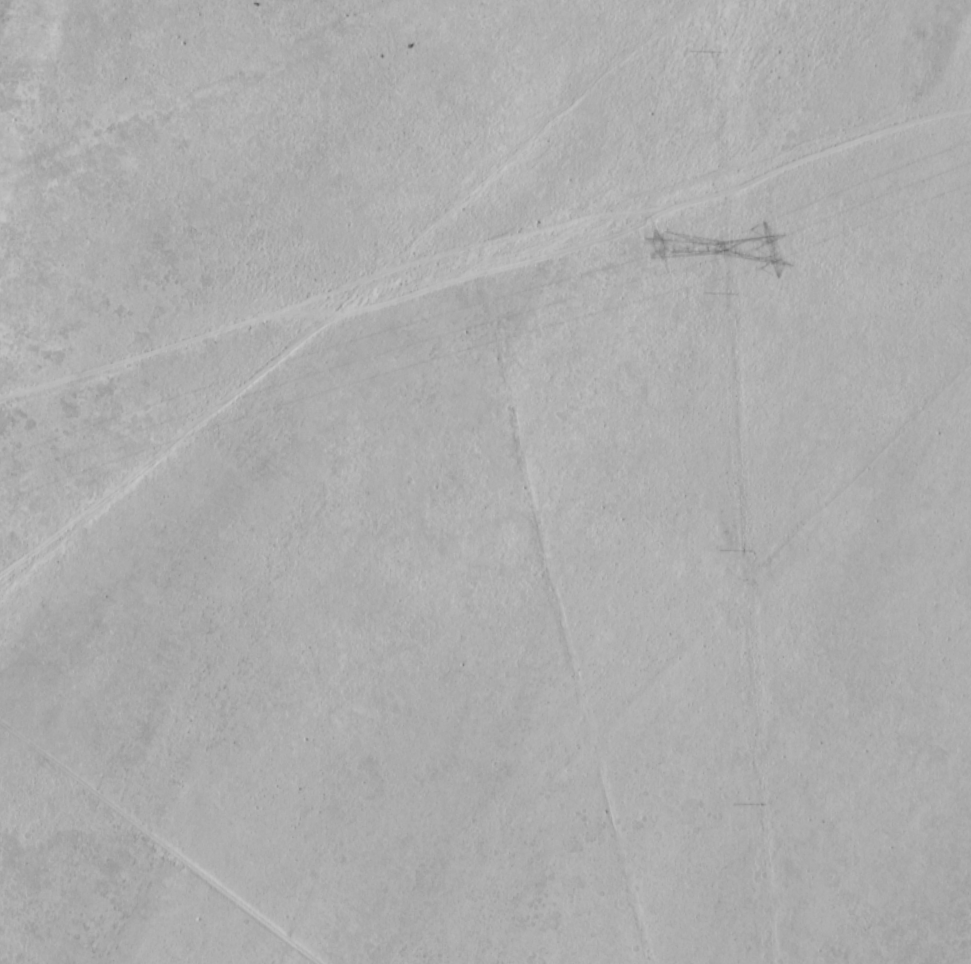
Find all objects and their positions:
road: (486, 234)
power tower: (672, 245)
road: (574, 598)
road: (677, 670)
road: (148, 829)

